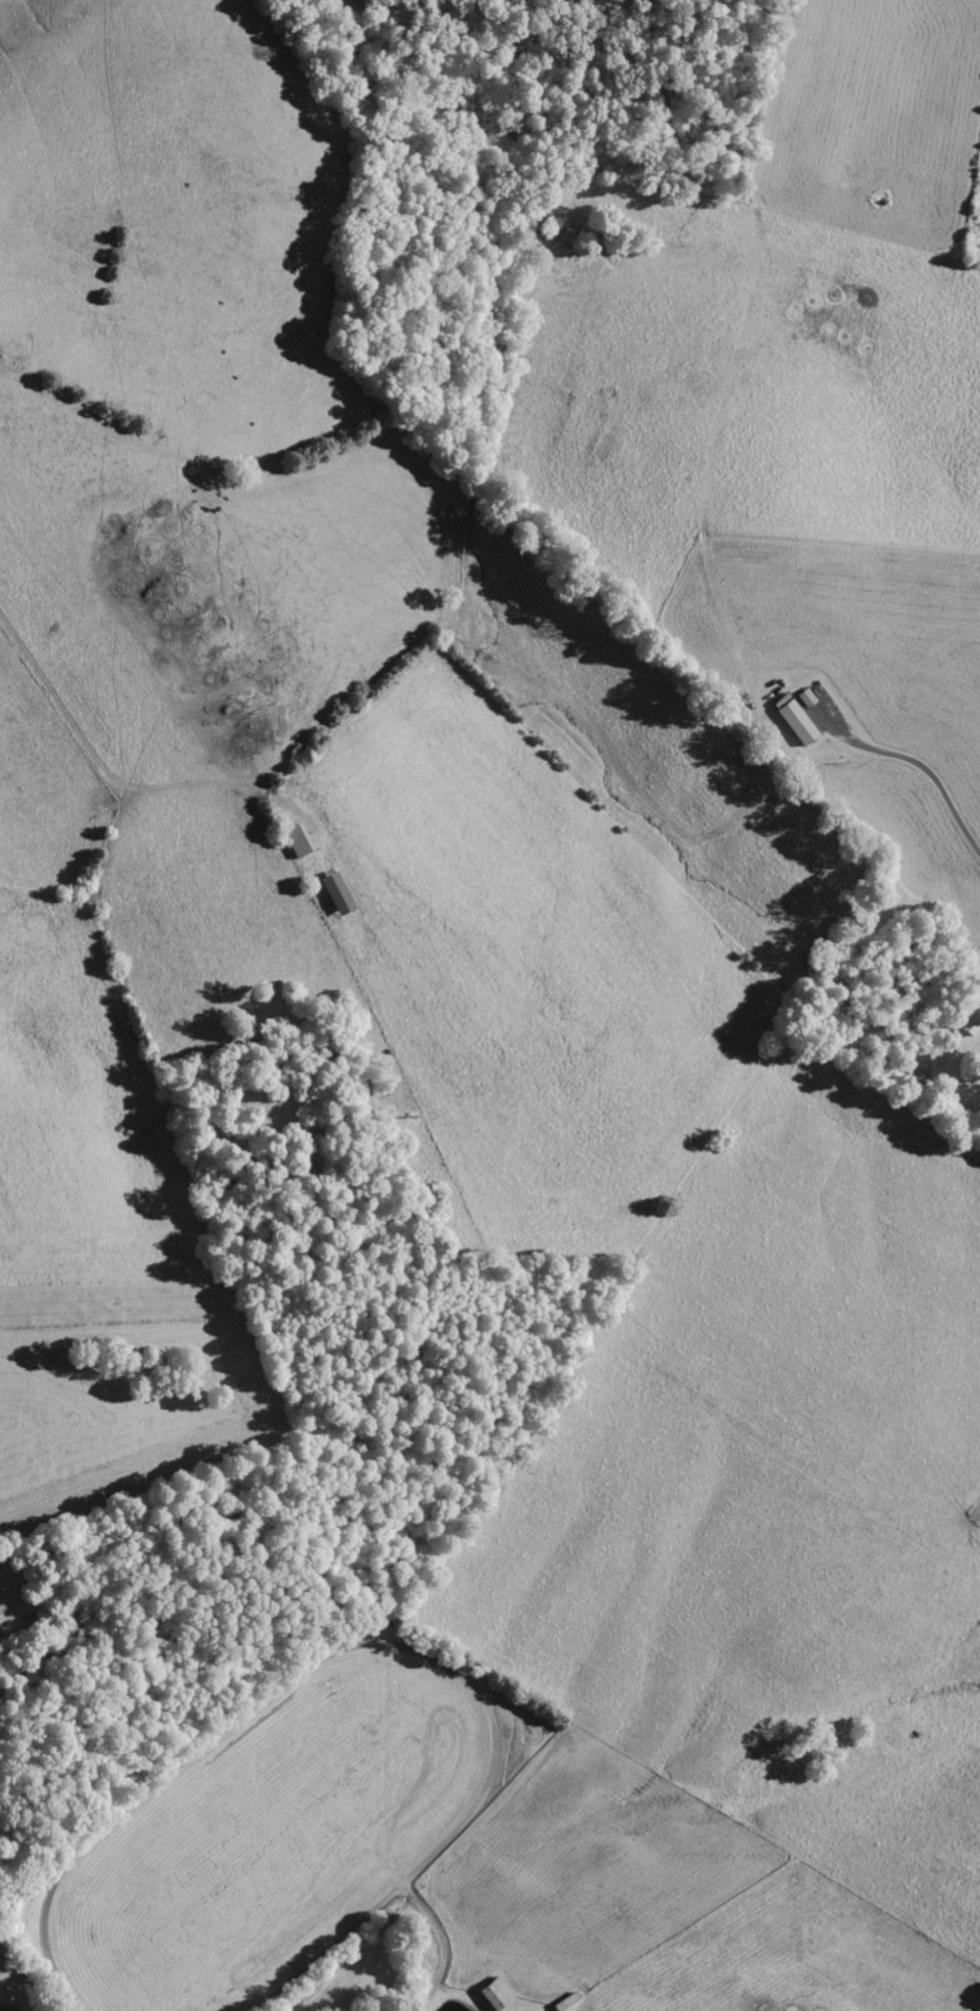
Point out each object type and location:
road: (747, 226)
building: (812, 698)
building: (801, 719)
building: (301, 841)
building: (342, 893)
building: (974, 1022)
building: (501, 1993)

